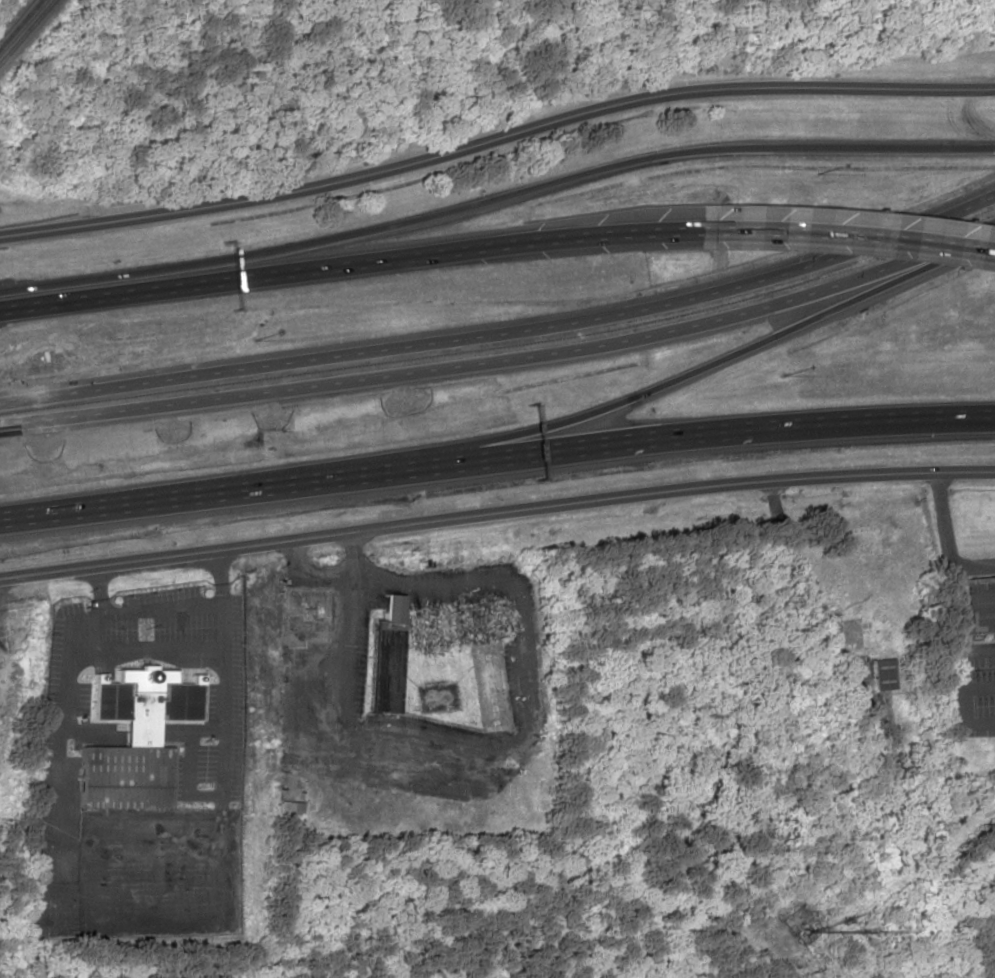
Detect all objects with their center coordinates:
railway: (20, 23)
railway: (26, 30)
road: (495, 139)
road: (495, 198)
road: (848, 230)
road: (349, 259)
road: (505, 334)
road: (503, 356)
road: (696, 375)
road: (994, 420)
road: (496, 461)
road: (496, 515)
building: (981, 604)
building: (459, 626)
building: (857, 634)
road: (70, 635)
building: (384, 657)
building: (881, 674)
road: (222, 678)
parking lot: (63, 698)
road: (141, 727)
building: (133, 739)
road: (526, 740)
road: (187, 780)
road: (58, 818)
parking lot: (129, 865)

